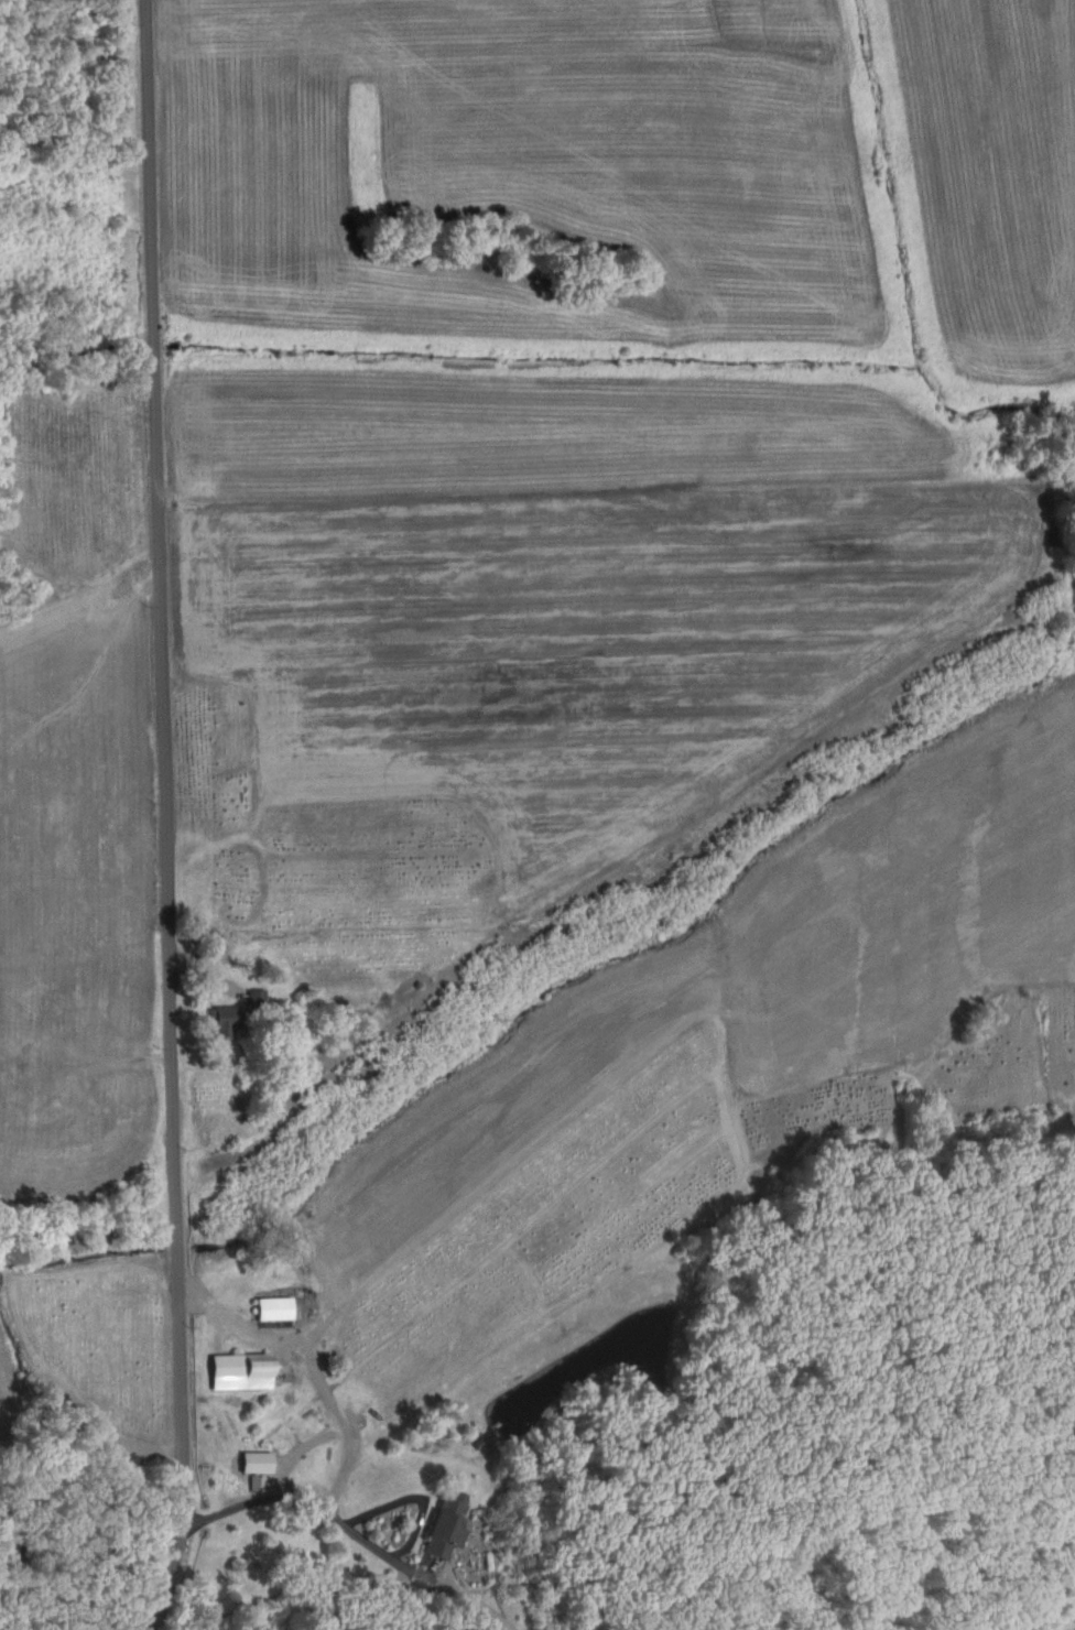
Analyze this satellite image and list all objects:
road: (166, 817)
building: (252, 996)
building: (220, 1020)
building: (272, 1307)
building: (239, 1370)
building: (254, 1461)
building: (427, 1548)

